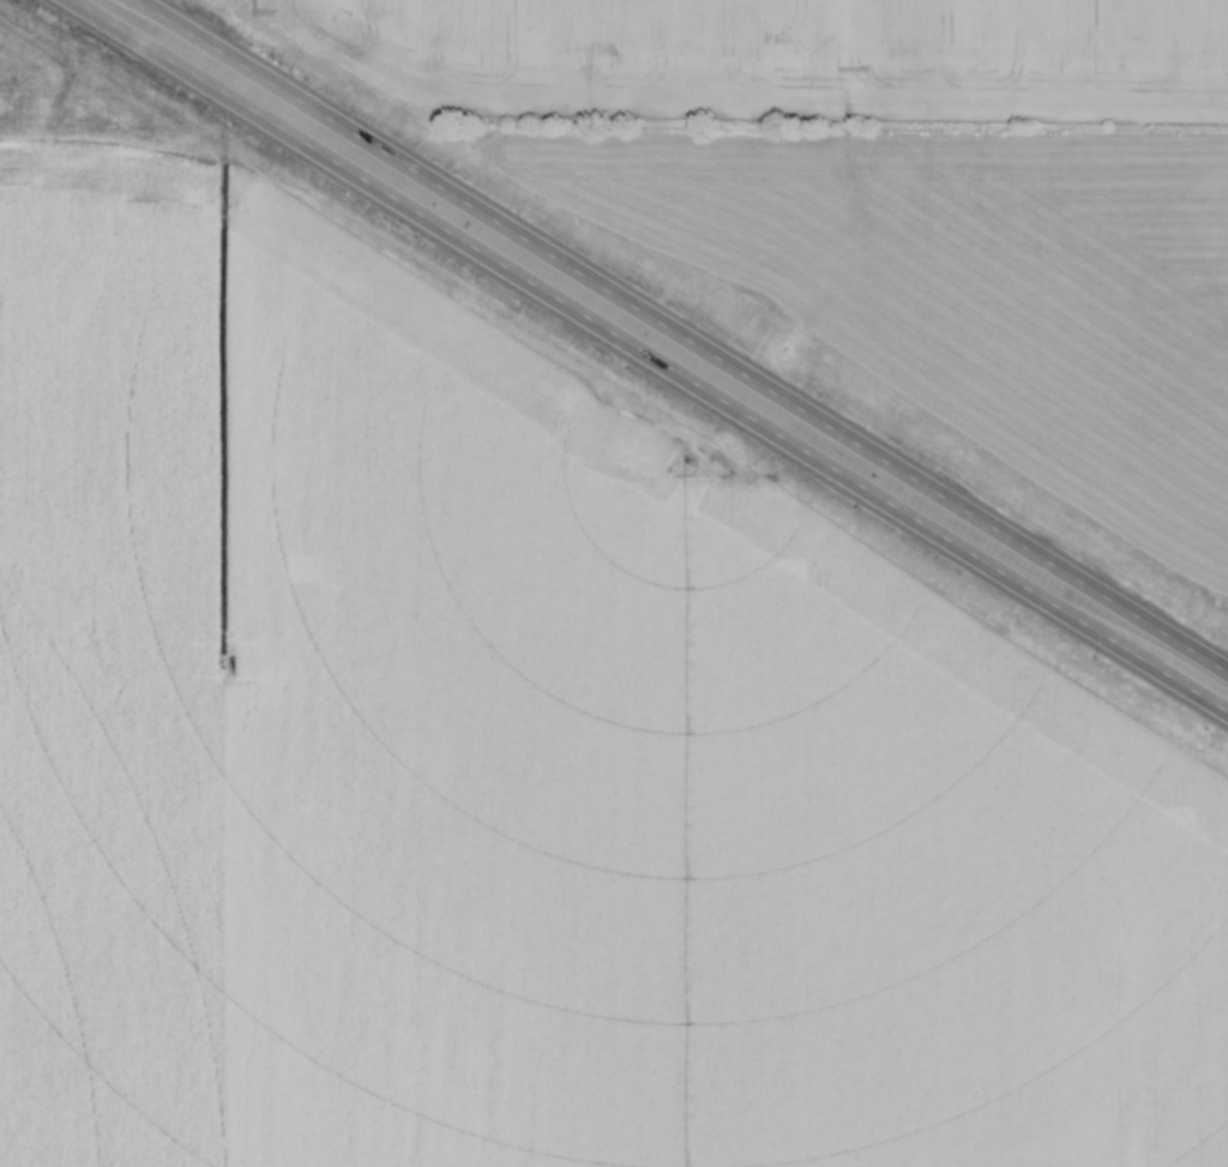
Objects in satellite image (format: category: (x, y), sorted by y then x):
road: (393, 161)
road: (348, 172)
road: (940, 497)
road: (928, 527)

